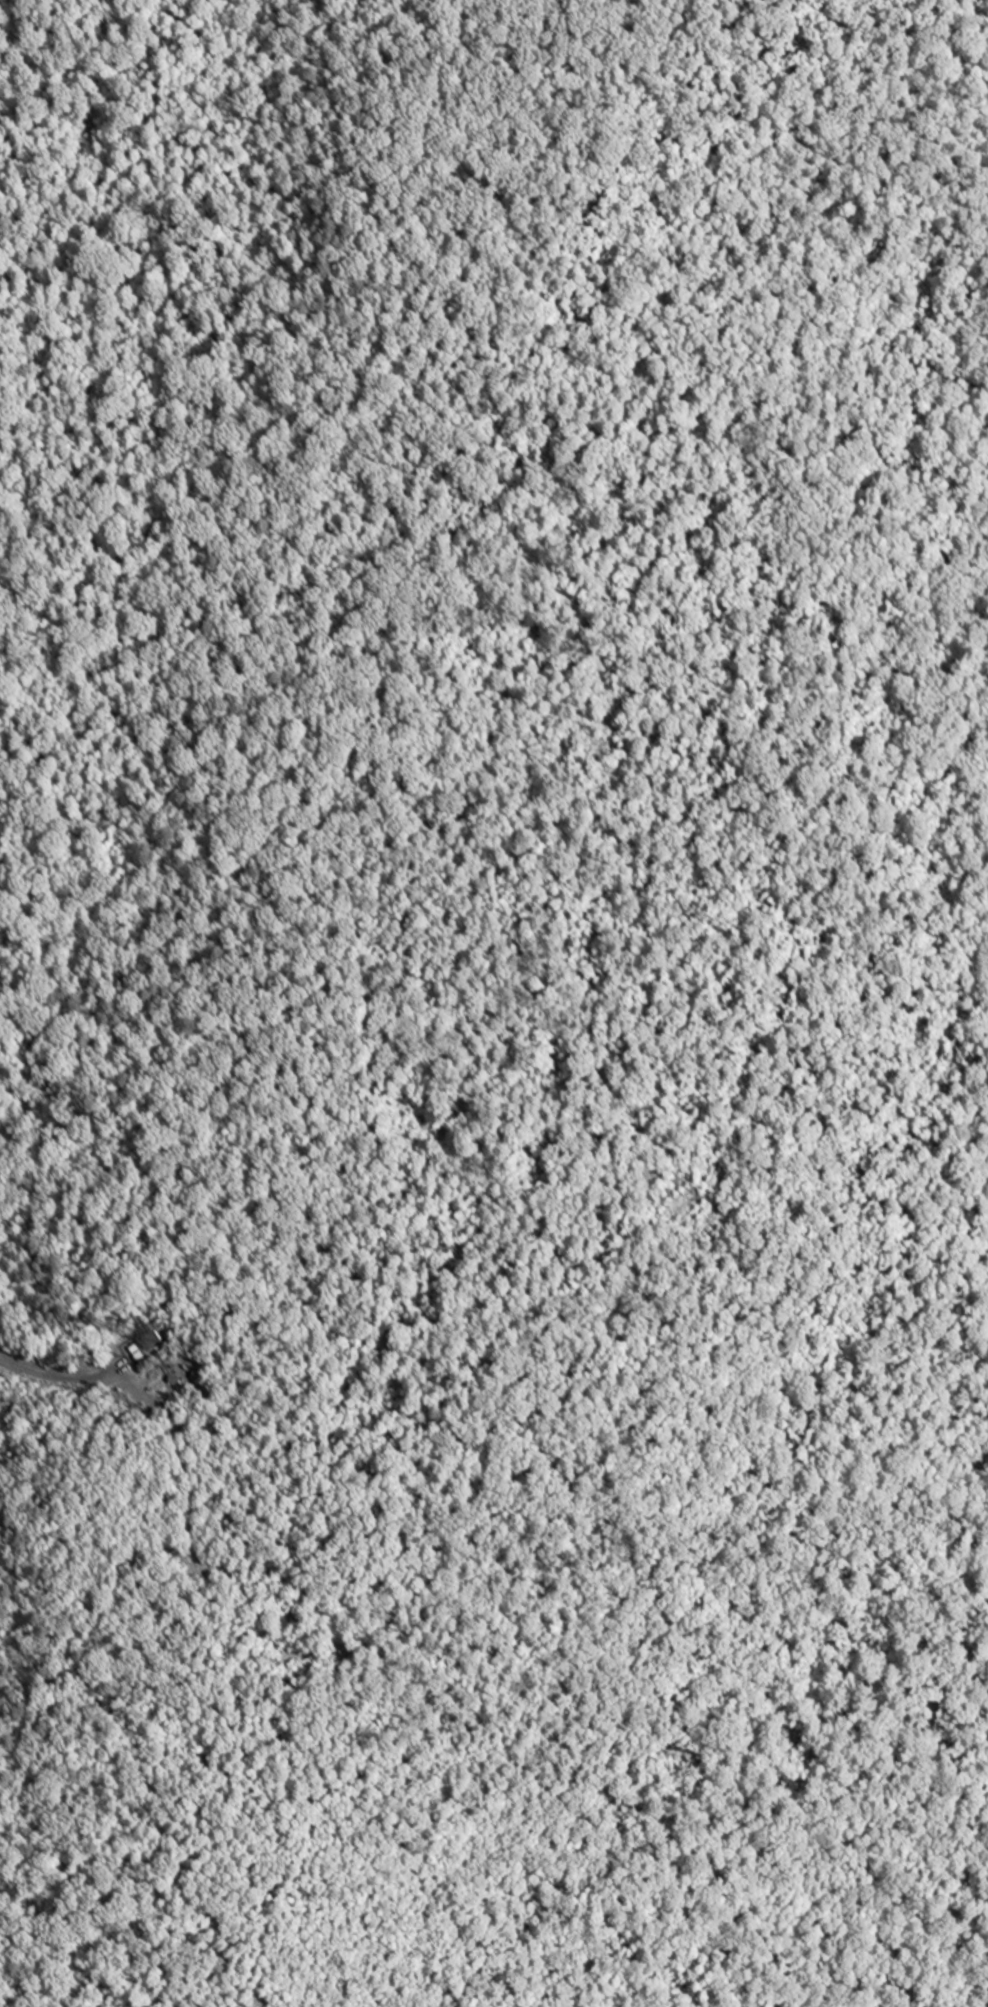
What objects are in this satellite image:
road: (488, 1006)
road: (61, 1376)

